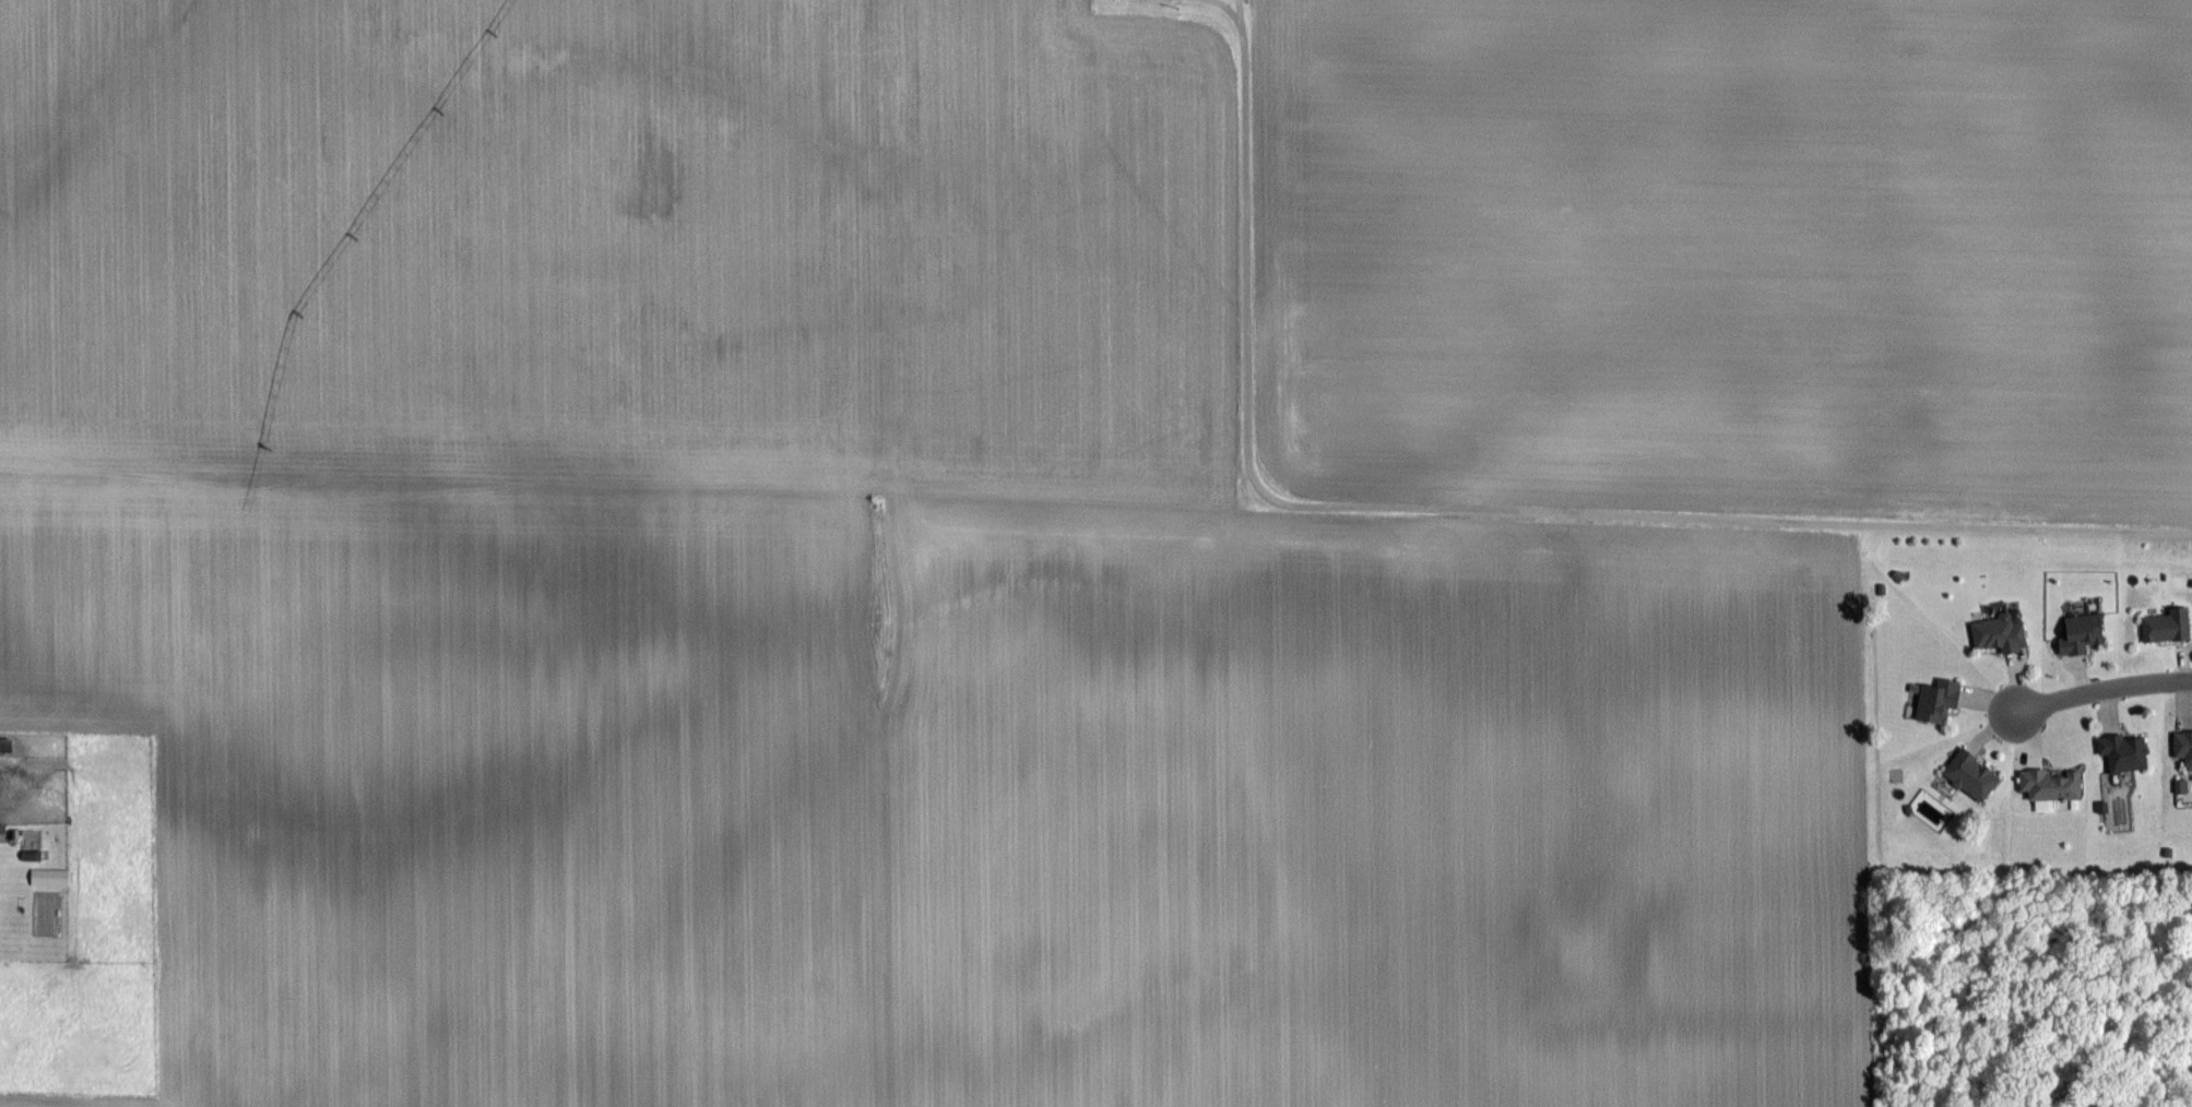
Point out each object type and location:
road: (1194, 2)
road: (1230, 12)
road: (1484, 512)
building: (2169, 627)
building: (2002, 634)
building: (2084, 634)
road: (2104, 690)
building: (2184, 750)
building: (2126, 752)
building: (1975, 775)
building: (2054, 785)
building: (4, 834)

